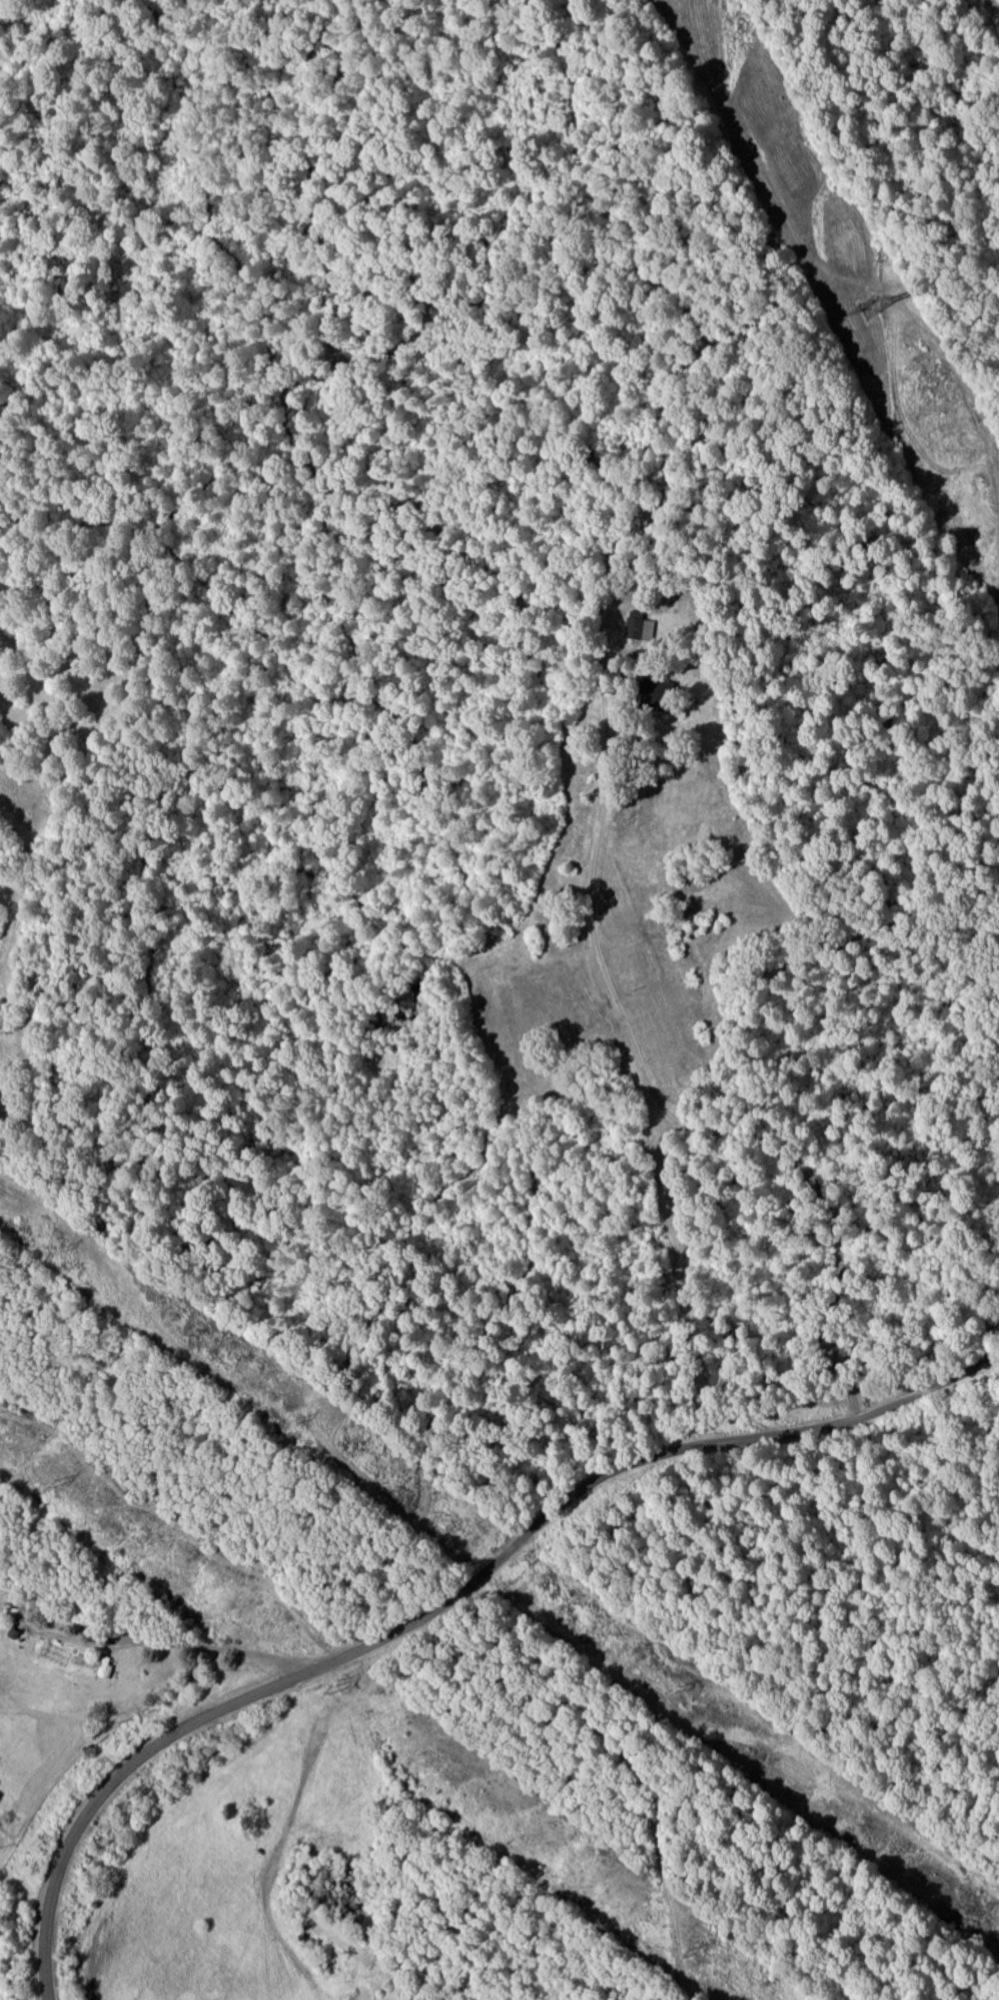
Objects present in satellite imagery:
power tower: (869, 310)
building: (636, 629)
building: (652, 695)
road: (682, 1064)
road: (128, 1599)
road: (448, 1601)
road: (334, 1623)
building: (254, 1816)

